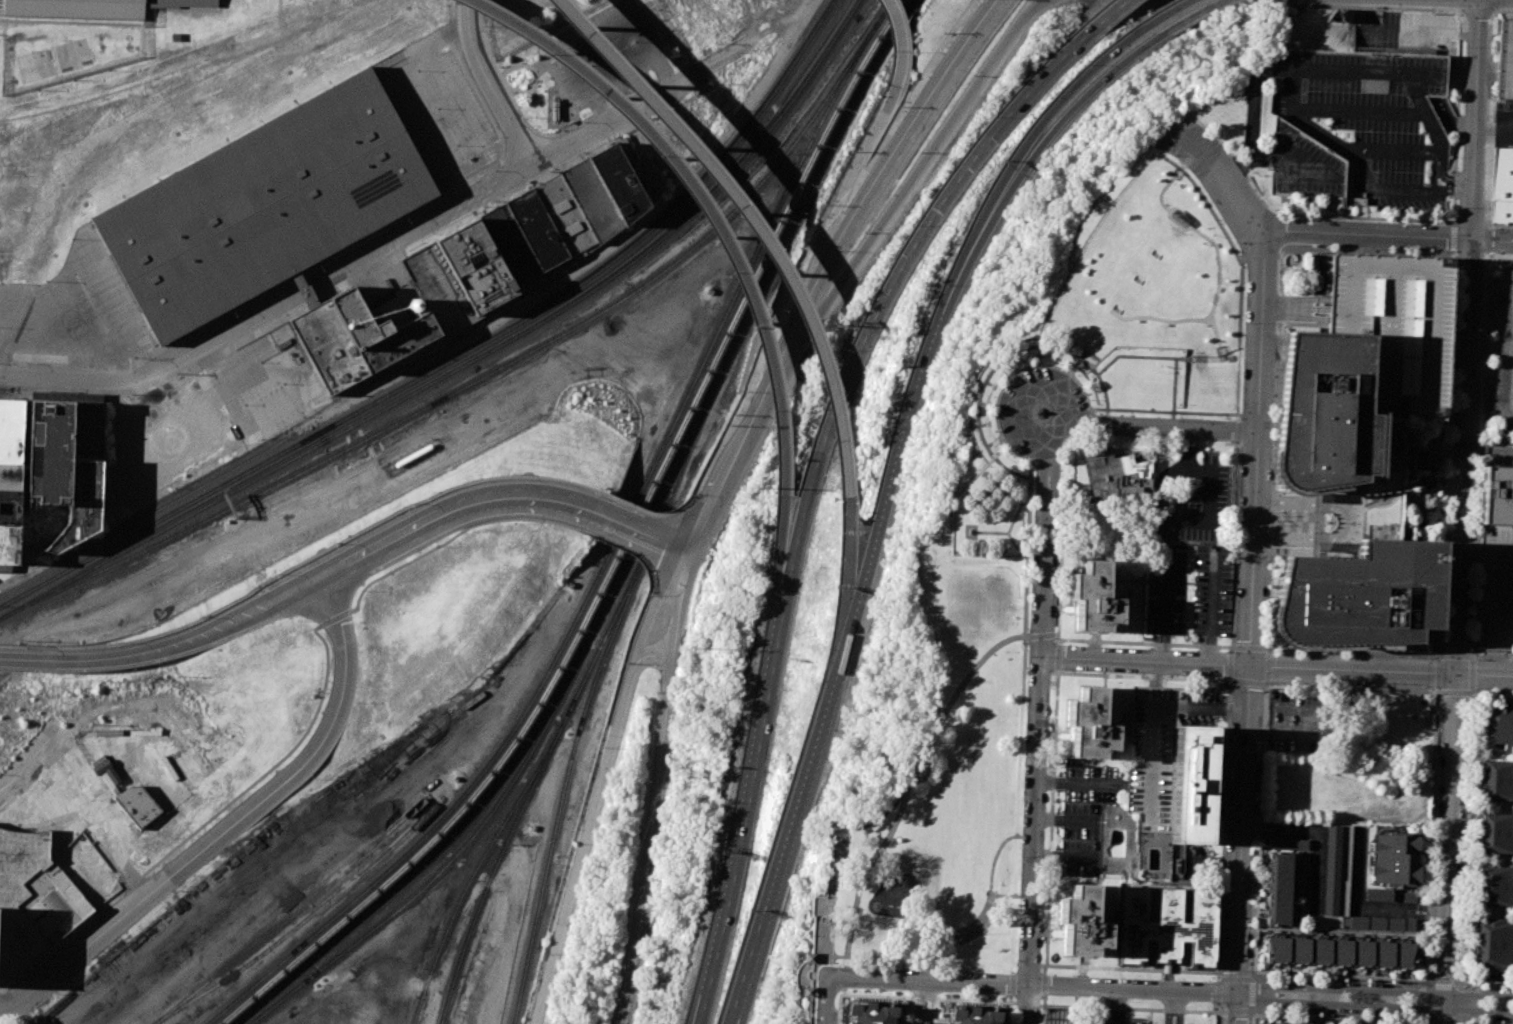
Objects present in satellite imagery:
road: (1039, 0)
road: (1473, 1)
building: (93, 8)
railway: (884, 12)
road: (1113, 13)
road: (1477, 14)
road: (1201, 15)
road: (1160, 17)
railway: (416, 22)
road: (897, 41)
road: (745, 46)
parking lot: (613, 55)
building: (1502, 60)
parking garage: (1502, 60)
road: (1285, 67)
road: (441, 75)
road: (496, 85)
parking lot: (437, 105)
road: (1457, 110)
road: (415, 111)
building: (555, 111)
road: (1359, 111)
building: (1366, 113)
parking garage: (1366, 113)
road: (1474, 120)
road: (1489, 122)
road: (1493, 128)
road: (904, 135)
road: (1025, 137)
road: (1050, 138)
road: (1382, 151)
road: (1293, 159)
road: (848, 175)
building: (621, 178)
road: (912, 178)
road: (1451, 178)
road: (1225, 179)
building: (1502, 185)
road: (1401, 190)
road: (1452, 190)
building: (592, 199)
road: (698, 199)
building: (266, 204)
road: (1175, 215)
building: (566, 216)
road: (1336, 216)
road: (748, 223)
building: (536, 228)
road: (1167, 234)
road: (1368, 234)
road: (1453, 236)
road: (1485, 240)
road: (1491, 240)
building: (512, 248)
railway: (773, 250)
road: (800, 261)
road: (358, 265)
building: (476, 266)
road: (1144, 266)
railway: (754, 268)
road: (1217, 268)
road: (1240, 272)
road: (893, 278)
building: (303, 288)
road: (1216, 288)
building: (439, 290)
road: (1125, 294)
railway: (754, 300)
parking lot: (1501, 302)
water tower: (414, 305)
parking lot: (75, 310)
road: (1210, 311)
road: (799, 312)
road: (1508, 318)
road: (1179, 319)
building: (1390, 323)
parking lot: (1390, 323)
power tower: (828, 325)
building: (379, 328)
railway: (730, 334)
road: (1483, 345)
building: (328, 346)
road: (1487, 347)
road: (1026, 348)
road: (1510, 349)
railway: (459, 355)
road: (1136, 355)
road: (1218, 358)
railway: (470, 360)
road: (1077, 360)
road: (1276, 363)
road: (999, 365)
road: (1070, 371)
road: (1007, 374)
road: (1009, 376)
railway: (481, 377)
road: (1505, 383)
railway: (362, 385)
road: (1173, 392)
parking lot: (1500, 396)
road: (1090, 408)
road: (1204, 412)
road: (1235, 414)
building: (1328, 414)
parking lot: (202, 416)
road: (1165, 427)
building: (10, 430)
road: (1238, 430)
building: (88, 431)
road: (997, 437)
road: (1495, 438)
railway: (636, 443)
road: (987, 444)
road: (1039, 445)
road: (896, 449)
road: (1488, 451)
building: (49, 452)
road: (734, 452)
road: (1256, 452)
road: (1446, 454)
railway: (683, 460)
road: (1010, 469)
road: (1444, 470)
road: (1435, 473)
building: (9, 476)
building: (1120, 481)
road: (995, 482)
road: (1440, 482)
road: (1422, 483)
road: (991, 484)
road: (1416, 484)
railway: (659, 488)
road: (979, 493)
road: (1429, 493)
building: (1497, 495)
road: (1420, 496)
parking lot: (1193, 497)
road: (1408, 497)
road: (1000, 499)
road: (1423, 500)
road: (1381, 502)
power tower: (730, 503)
road: (638, 505)
building: (9, 506)
building: (79, 506)
road: (1413, 509)
railway: (235, 512)
road: (674, 512)
road: (450, 513)
flagpole: (1278, 515)
road: (1167, 518)
road: (1292, 520)
road: (1305, 521)
road: (1010, 522)
fountain: (1331, 522)
road: (1357, 522)
flagpole: (1278, 524)
railway: (127, 526)
road: (628, 527)
building: (1406, 527)
road: (988, 531)
road: (1027, 534)
road: (784, 537)
road: (1477, 542)
building: (8, 545)
road: (677, 547)
road: (1044, 549)
road: (329, 554)
park: (1003, 561)
railway: (600, 567)
road: (847, 567)
road: (1059, 568)
railway: (648, 582)
building: (1496, 586)
parking garage: (1496, 586)
parking lot: (1166, 588)
power tower: (697, 590)
parking lot: (1212, 591)
building: (1362, 596)
building: (1093, 598)
railway: (625, 600)
road: (1166, 605)
road: (1212, 606)
road: (653, 608)
road: (1020, 609)
road: (334, 618)
road: (1231, 631)
road: (1457, 631)
railway: (604, 634)
road: (1040, 634)
road: (190, 638)
road: (24, 646)
road: (1353, 650)
road: (1493, 656)
road: (24, 659)
road: (1145, 659)
road: (1382, 670)
road: (1040, 671)
road: (1265, 683)
road: (1351, 687)
road: (1472, 692)
road: (1493, 693)
road: (1282, 709)
road: (1153, 718)
parking lot: (1293, 722)
building: (1089, 725)
building: (1498, 725)
road: (1281, 735)
road: (1226, 744)
building: (1158, 747)
parking garage: (1158, 747)
road: (1492, 751)
building: (96, 760)
road: (28, 762)
building: (101, 766)
road: (271, 768)
building: (111, 775)
road: (912, 777)
building: (1497, 779)
building: (110, 783)
road: (1079, 783)
building: (1192, 785)
road: (1217, 785)
road: (746, 786)
road: (658, 788)
road: (1018, 803)
building: (137, 804)
road: (25, 815)
road: (107, 815)
parking lot: (1087, 815)
road: (1065, 819)
road: (1264, 824)
road: (589, 825)
road: (230, 827)
road: (1258, 830)
building: (1496, 832)
road: (1264, 834)
railway: (554, 837)
railway: (450, 840)
road: (1467, 841)
building: (1289, 843)
road: (1243, 844)
railway: (463, 845)
road: (1318, 853)
road: (1034, 855)
road: (1065, 857)
road: (831, 858)
building: (1395, 859)
railway: (408, 863)
railway: (477, 867)
railway: (494, 870)
building: (1338, 870)
road: (131, 883)
road: (1048, 885)
building: (1495, 885)
building: (1279, 888)
road: (1357, 892)
building: (1379, 894)
road: (1001, 895)
building: (1409, 896)
building: (32, 899)
road: (1425, 906)
railway: (293, 912)
road: (1425, 916)
road: (977, 918)
railway: (301, 921)
road: (1427, 921)
building: (1081, 923)
building: (1379, 923)
building: (1168, 927)
road: (1341, 931)
flagpole: (984, 934)
road: (945, 936)
road: (61, 939)
power tower: (605, 940)
building: (1493, 944)
road: (944, 952)
building: (1340, 952)
building: (807, 957)
road: (940, 960)
road: (1045, 965)
street lamp: (1070, 975)
road: (834, 976)
road: (1218, 980)
road: (1429, 980)
road: (1487, 981)
road: (1442, 982)
road: (1011, 983)
road: (1038, 985)
road: (810, 988)
road: (1372, 990)
building: (805, 991)
street lamp: (876, 993)
street lamp: (990, 996)
road: (909, 997)
road: (1044, 999)
road: (823, 1000)
road: (919, 1001)
road: (927, 1002)
road: (1009, 1002)
road: (1027, 1003)
street lamp: (1210, 1003)
road: (1372, 1005)
road: (1118, 1006)
road: (697, 1007)
road: (700, 1007)
road: (1127, 1008)
road: (1168, 1008)
road: (1180, 1008)
road: (902, 1010)
street lamp: (1039, 1010)
road: (945, 1011)
building: (869, 1012)
road: (1008, 1013)
building: (973, 1015)
road: (1356, 1015)
road: (1251, 1017)
parking lot: (1173, 1018)
road: (1216, 1018)
parking lot: (1113, 1021)
road: (1480, 1022)
road: (921, 1023)
building: (1266, 1023)

